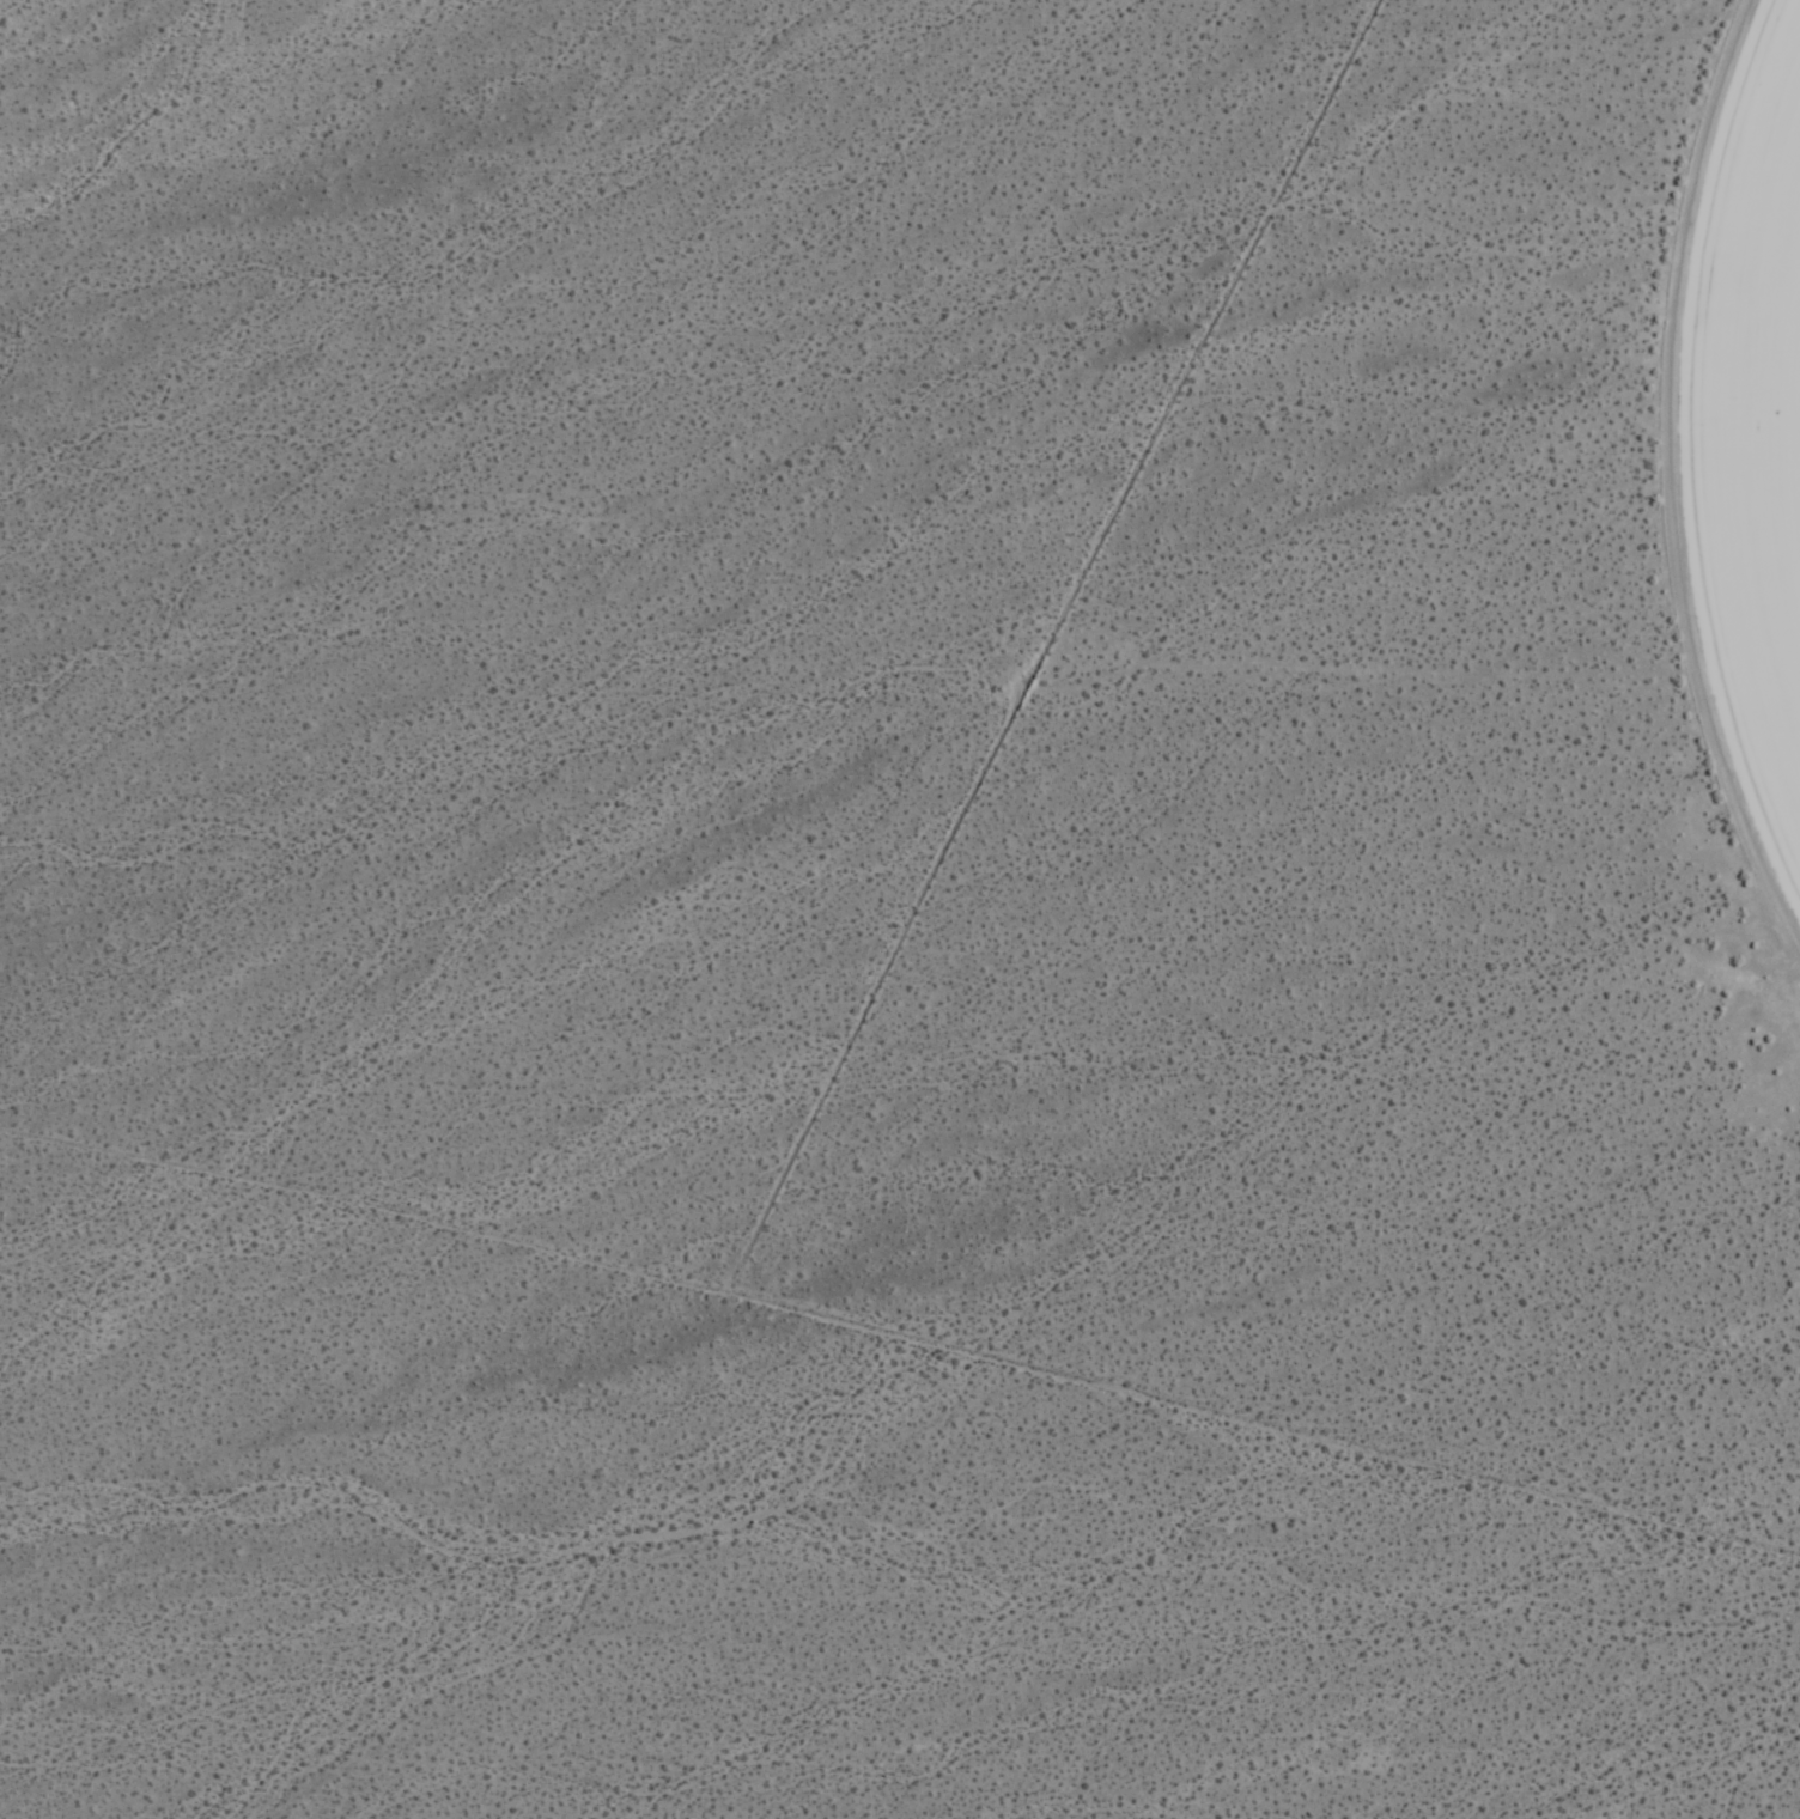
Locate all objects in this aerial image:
crop: (1733, 444)

